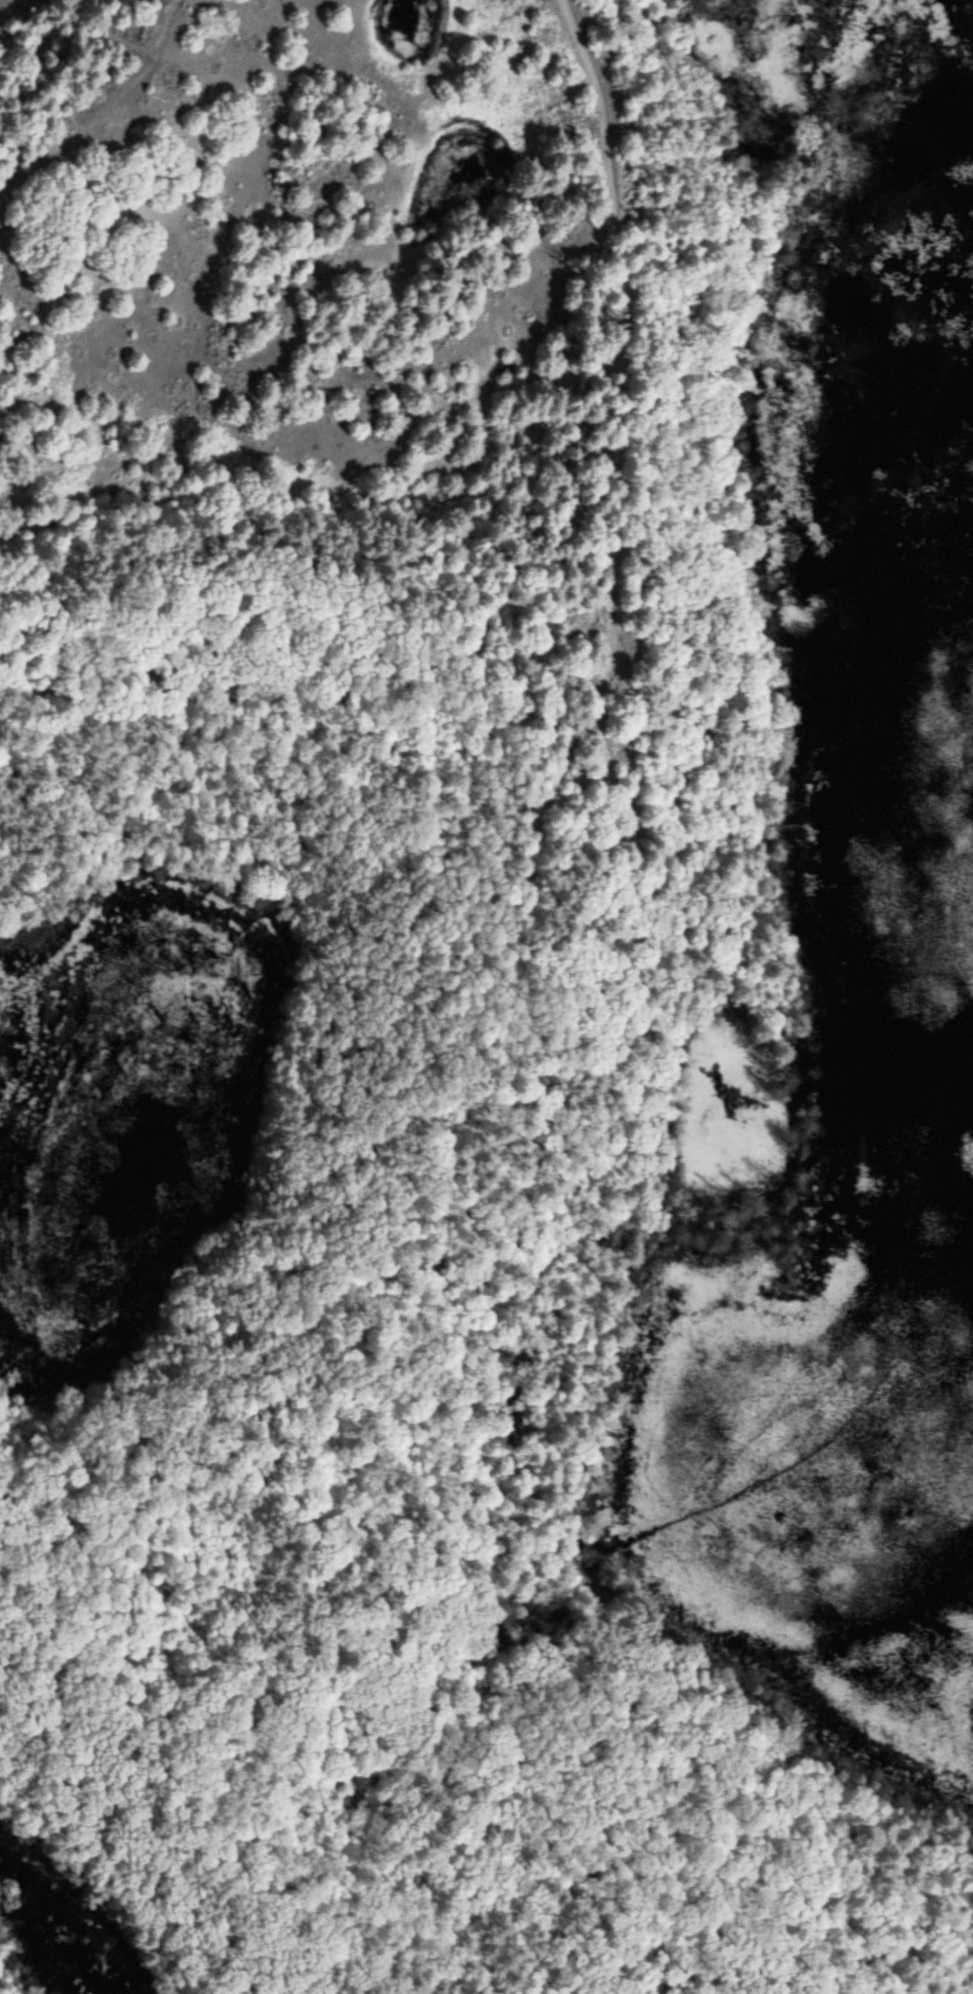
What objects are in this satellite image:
road: (522, 1046)

